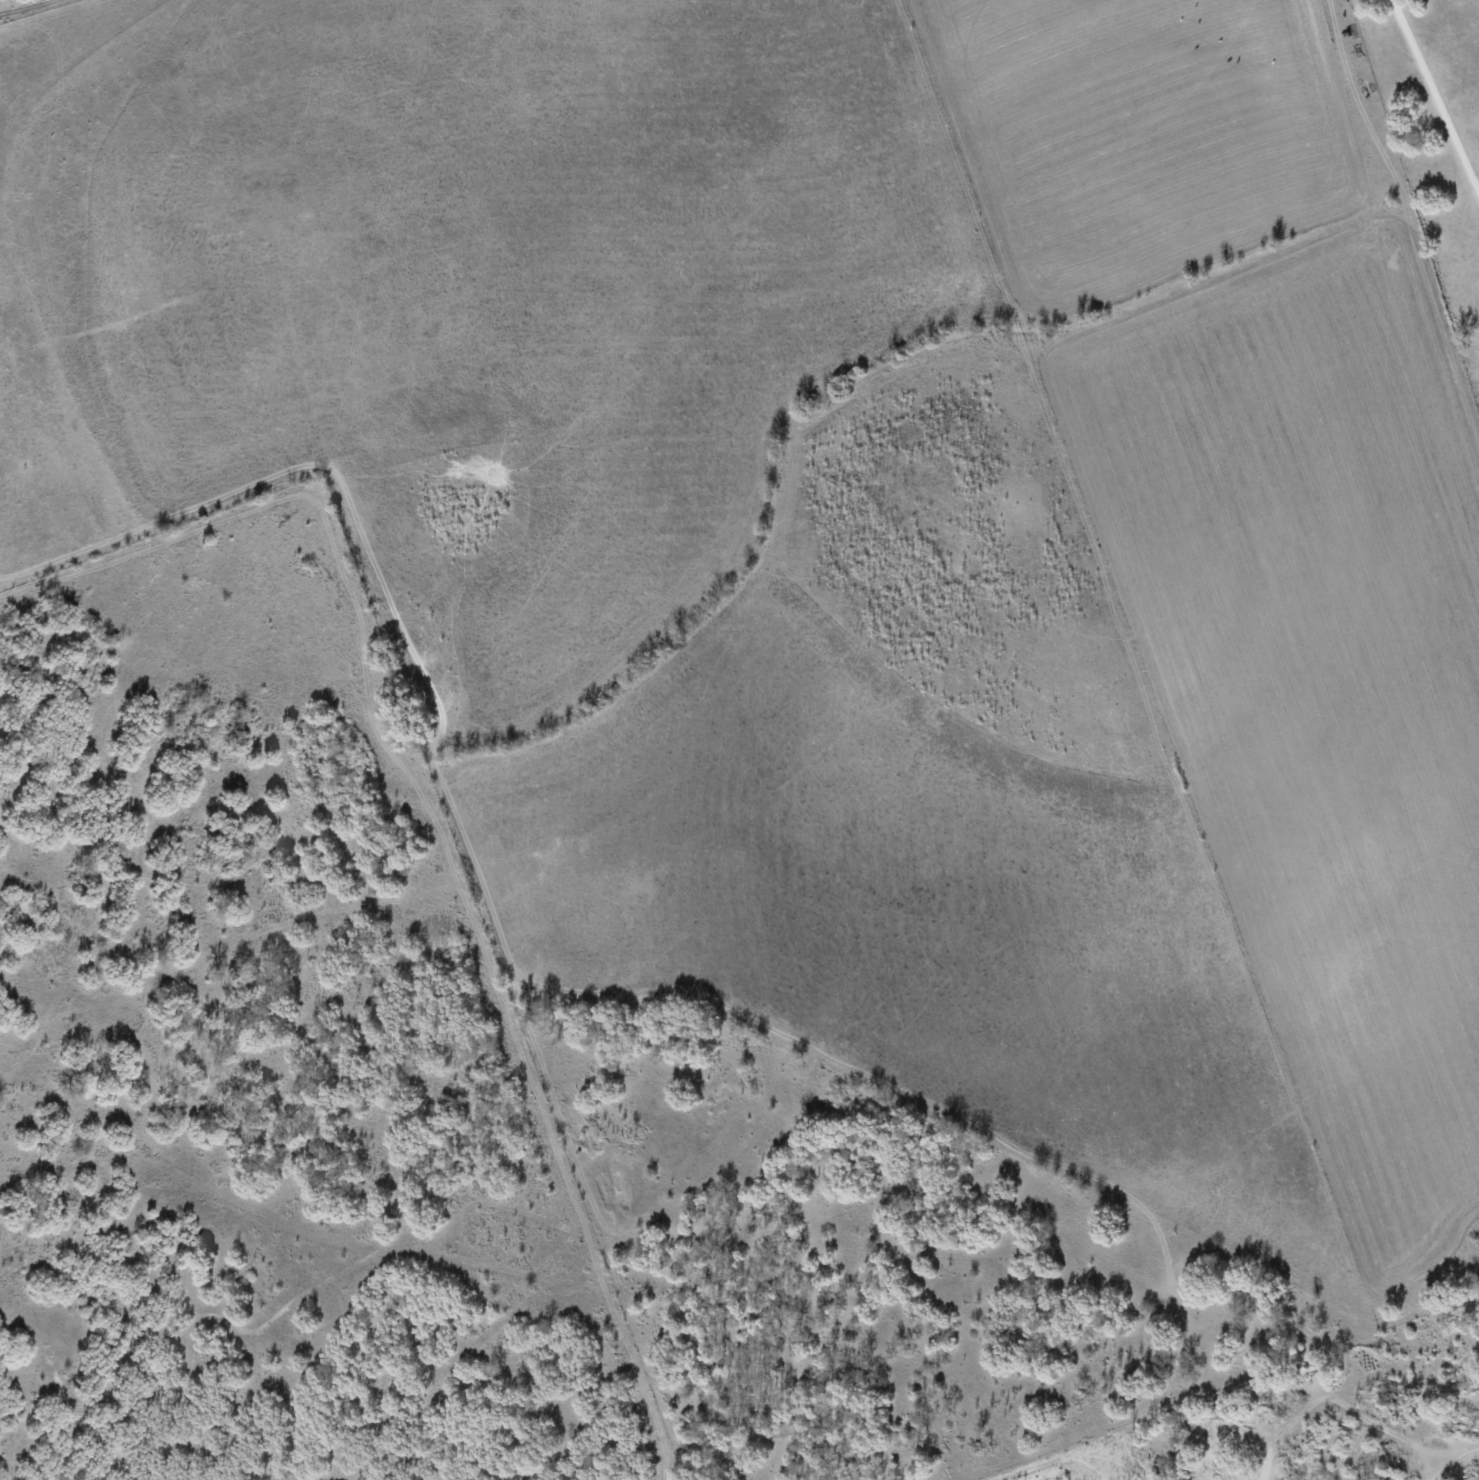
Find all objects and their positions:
road: (1434, 96)

